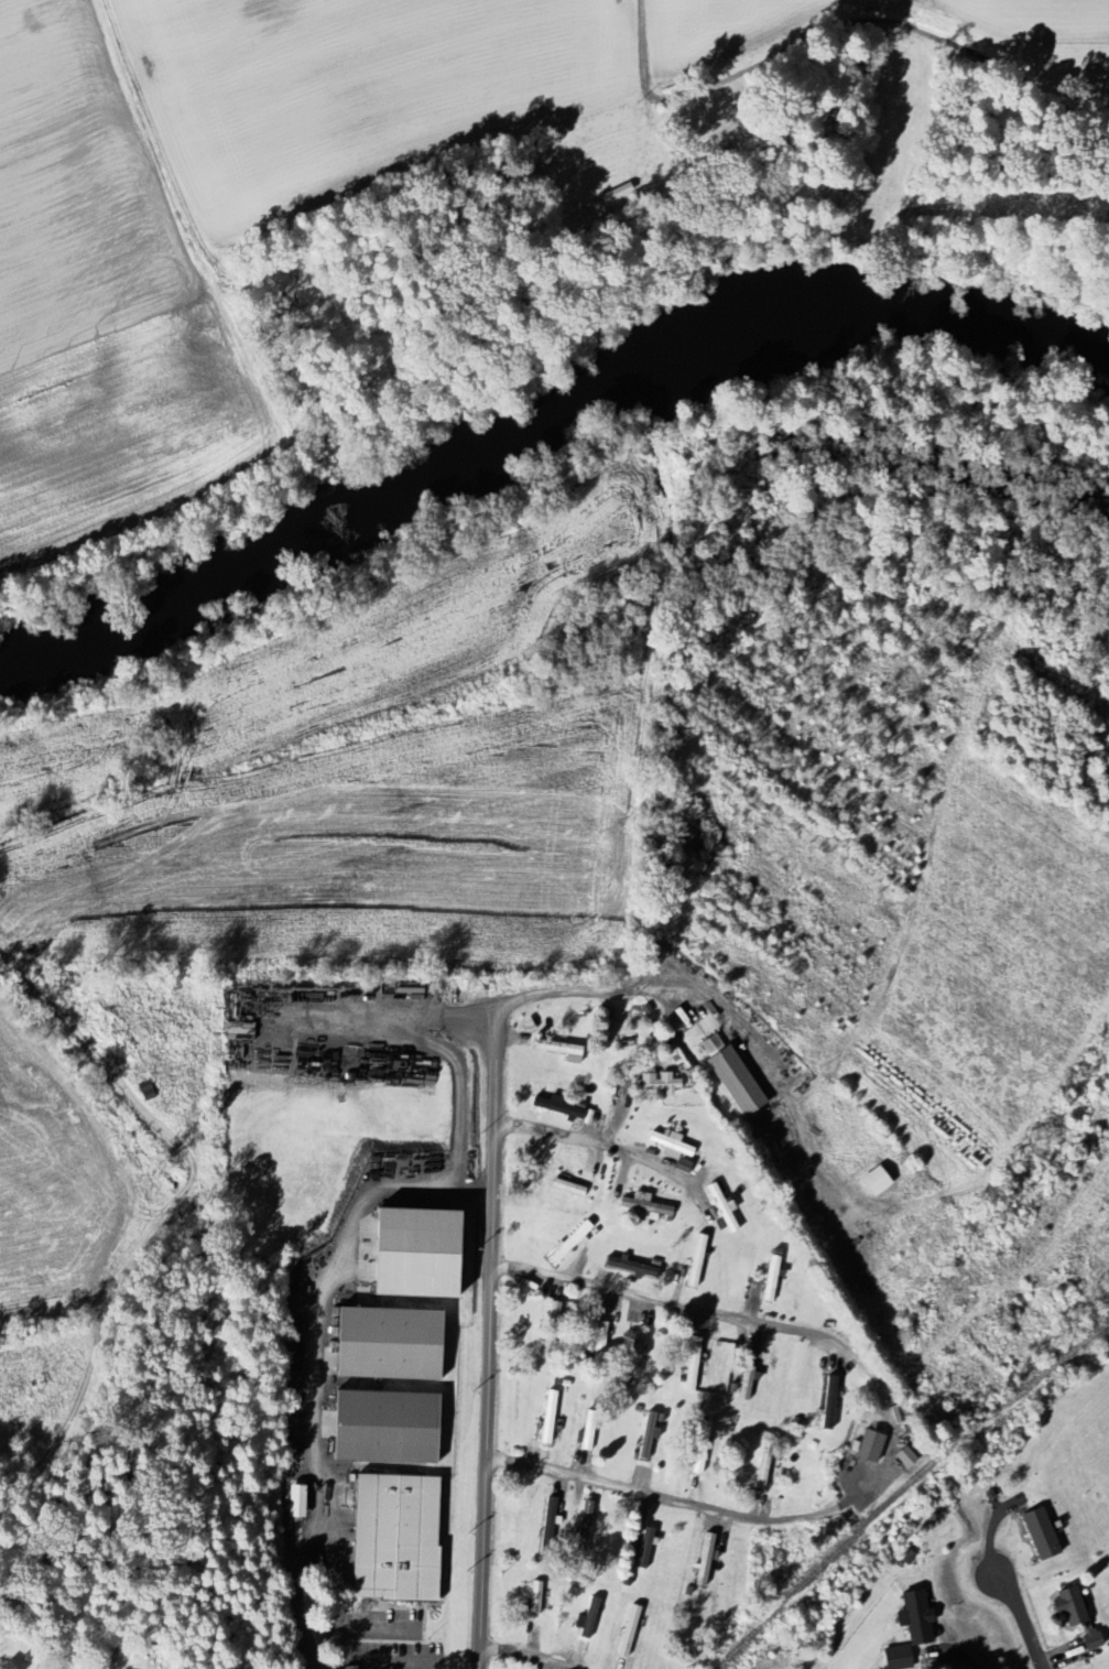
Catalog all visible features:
road: (890, 20)
road: (642, 46)
river: (536, 414)
road: (457, 1016)
building: (559, 1050)
building: (731, 1076)
building: (653, 1085)
road: (457, 1094)
road: (598, 1142)
building: (670, 1147)
building: (872, 1182)
building: (645, 1207)
building: (721, 1207)
road: (496, 1237)
building: (568, 1243)
building: (411, 1254)
building: (695, 1261)
building: (628, 1268)
road: (325, 1294)
road: (667, 1301)
building: (599, 1341)
building: (385, 1344)
building: (635, 1357)
building: (693, 1363)
building: (827, 1404)
building: (547, 1418)
building: (382, 1428)
building: (585, 1438)
building: (646, 1438)
building: (699, 1448)
building: (868, 1448)
building: (904, 1457)
road: (885, 1464)
building: (762, 1465)
road: (626, 1487)
railway: (907, 1488)
building: (294, 1502)
building: (548, 1518)
road: (316, 1522)
building: (583, 1525)
building: (1037, 1533)
building: (391, 1539)
building: (644, 1549)
building: (704, 1561)
road: (292, 1591)
building: (534, 1598)
building: (1066, 1606)
road: (1023, 1617)
building: (913, 1618)
building: (1089, 1640)
road: (529, 1656)
building: (895, 1658)
road: (966, 1658)
building: (3, 1666)

